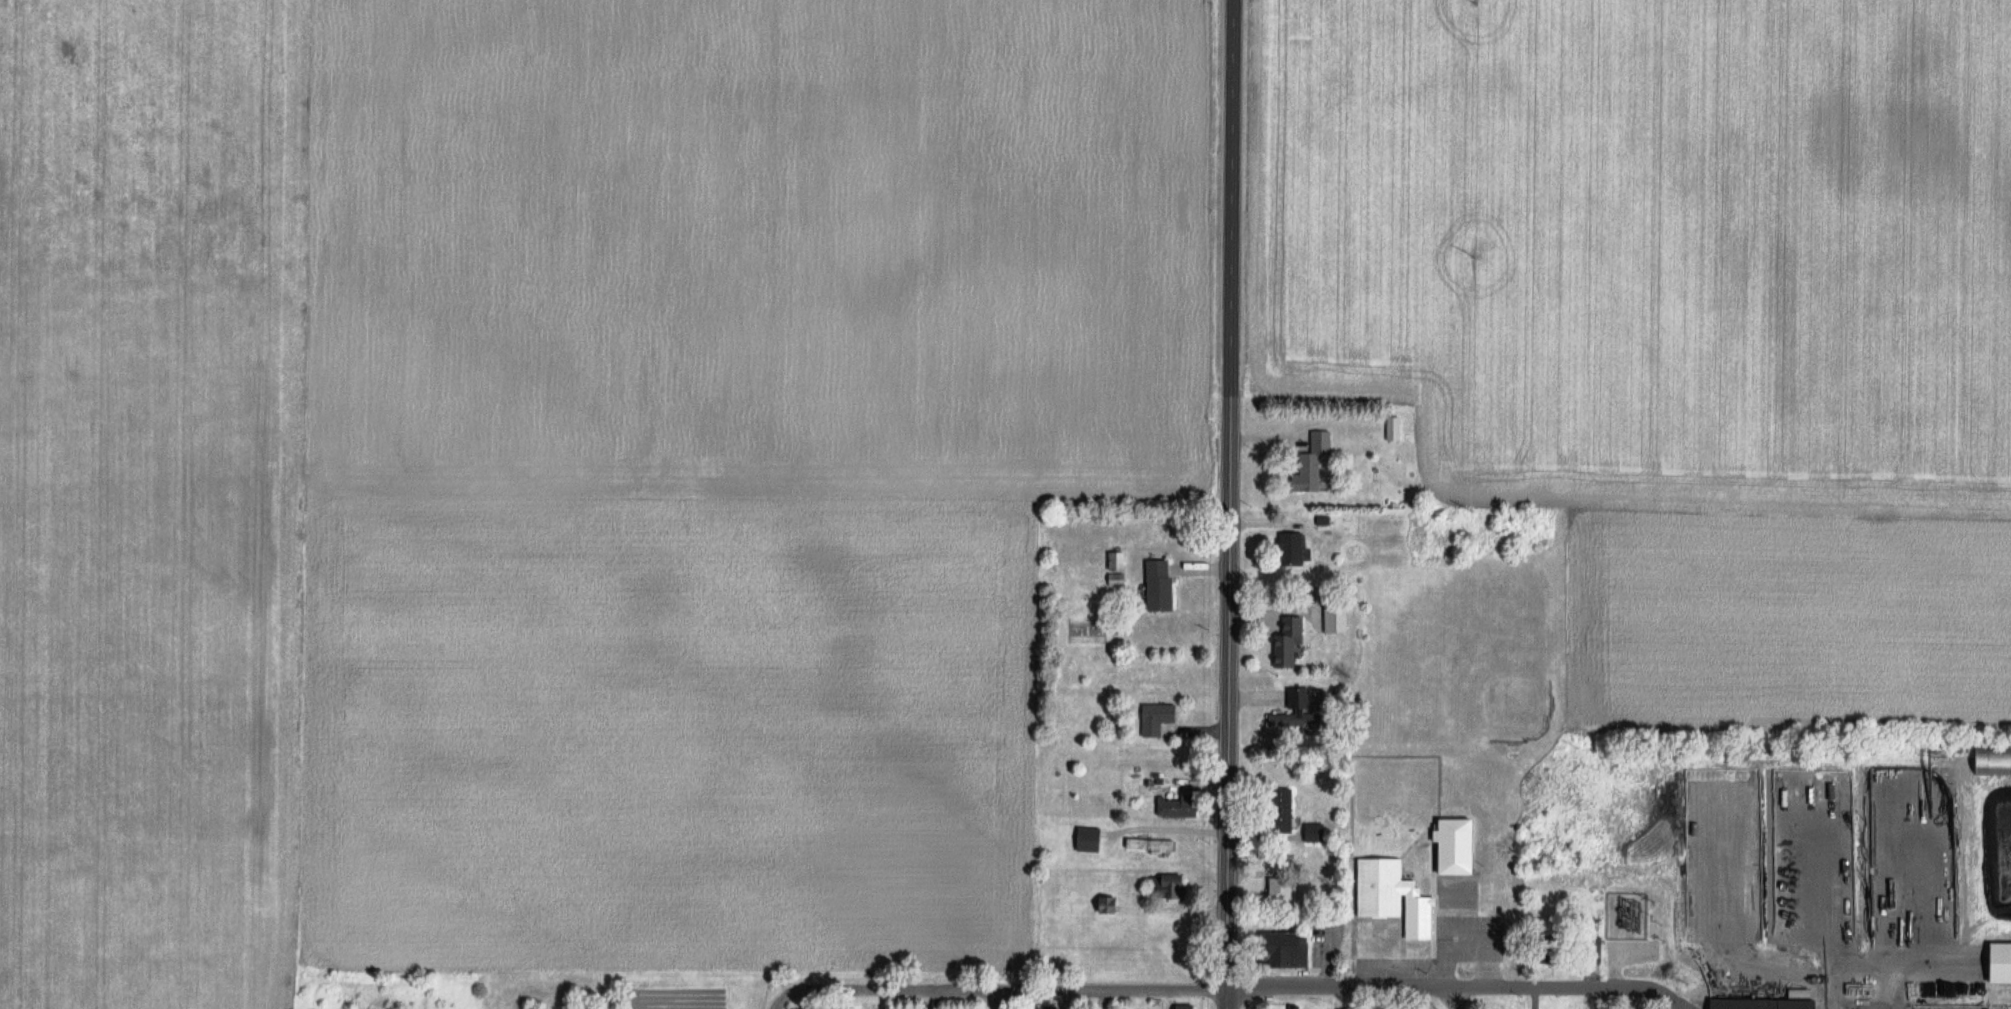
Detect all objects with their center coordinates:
building: (1314, 462)
road: (1233, 495)
building: (1296, 547)
building: (1119, 560)
building: (1119, 579)
building: (1163, 584)
building: (1339, 618)
building: (1290, 642)
park: (1485, 667)
building: (1294, 709)
building: (1160, 718)
building: (1094, 788)
building: (1180, 806)
building: (1287, 824)
building: (1317, 832)
building: (1091, 839)
building: (1152, 844)
building: (1461, 847)
building: (1171, 886)
building: (1385, 887)
building: (1285, 889)
building: (1112, 905)
building: (1291, 949)
building: (1589, 950)
building: (2002, 963)
road: (1878, 967)
road: (1898, 987)
road: (1453, 991)
road: (1003, 996)
road: (1224, 1000)
road: (1455, 1000)
road: (1682, 1001)
road: (997, 1003)
building: (1763, 1004)
road: (780, 1005)
building: (1189, 1006)

